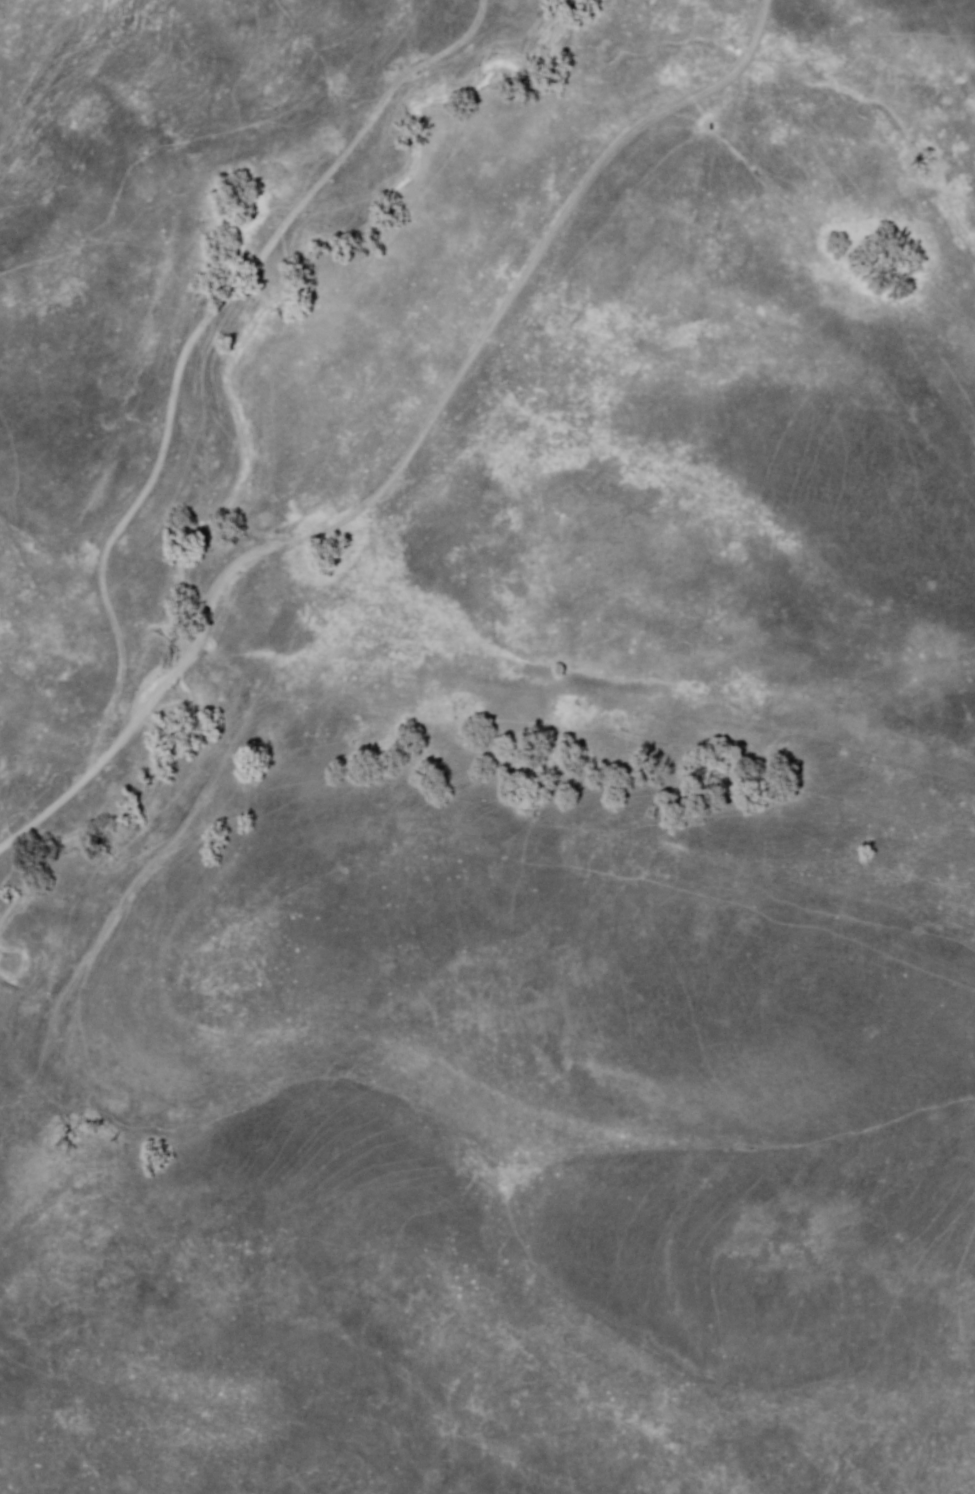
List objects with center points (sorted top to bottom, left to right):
road: (398, 444)

